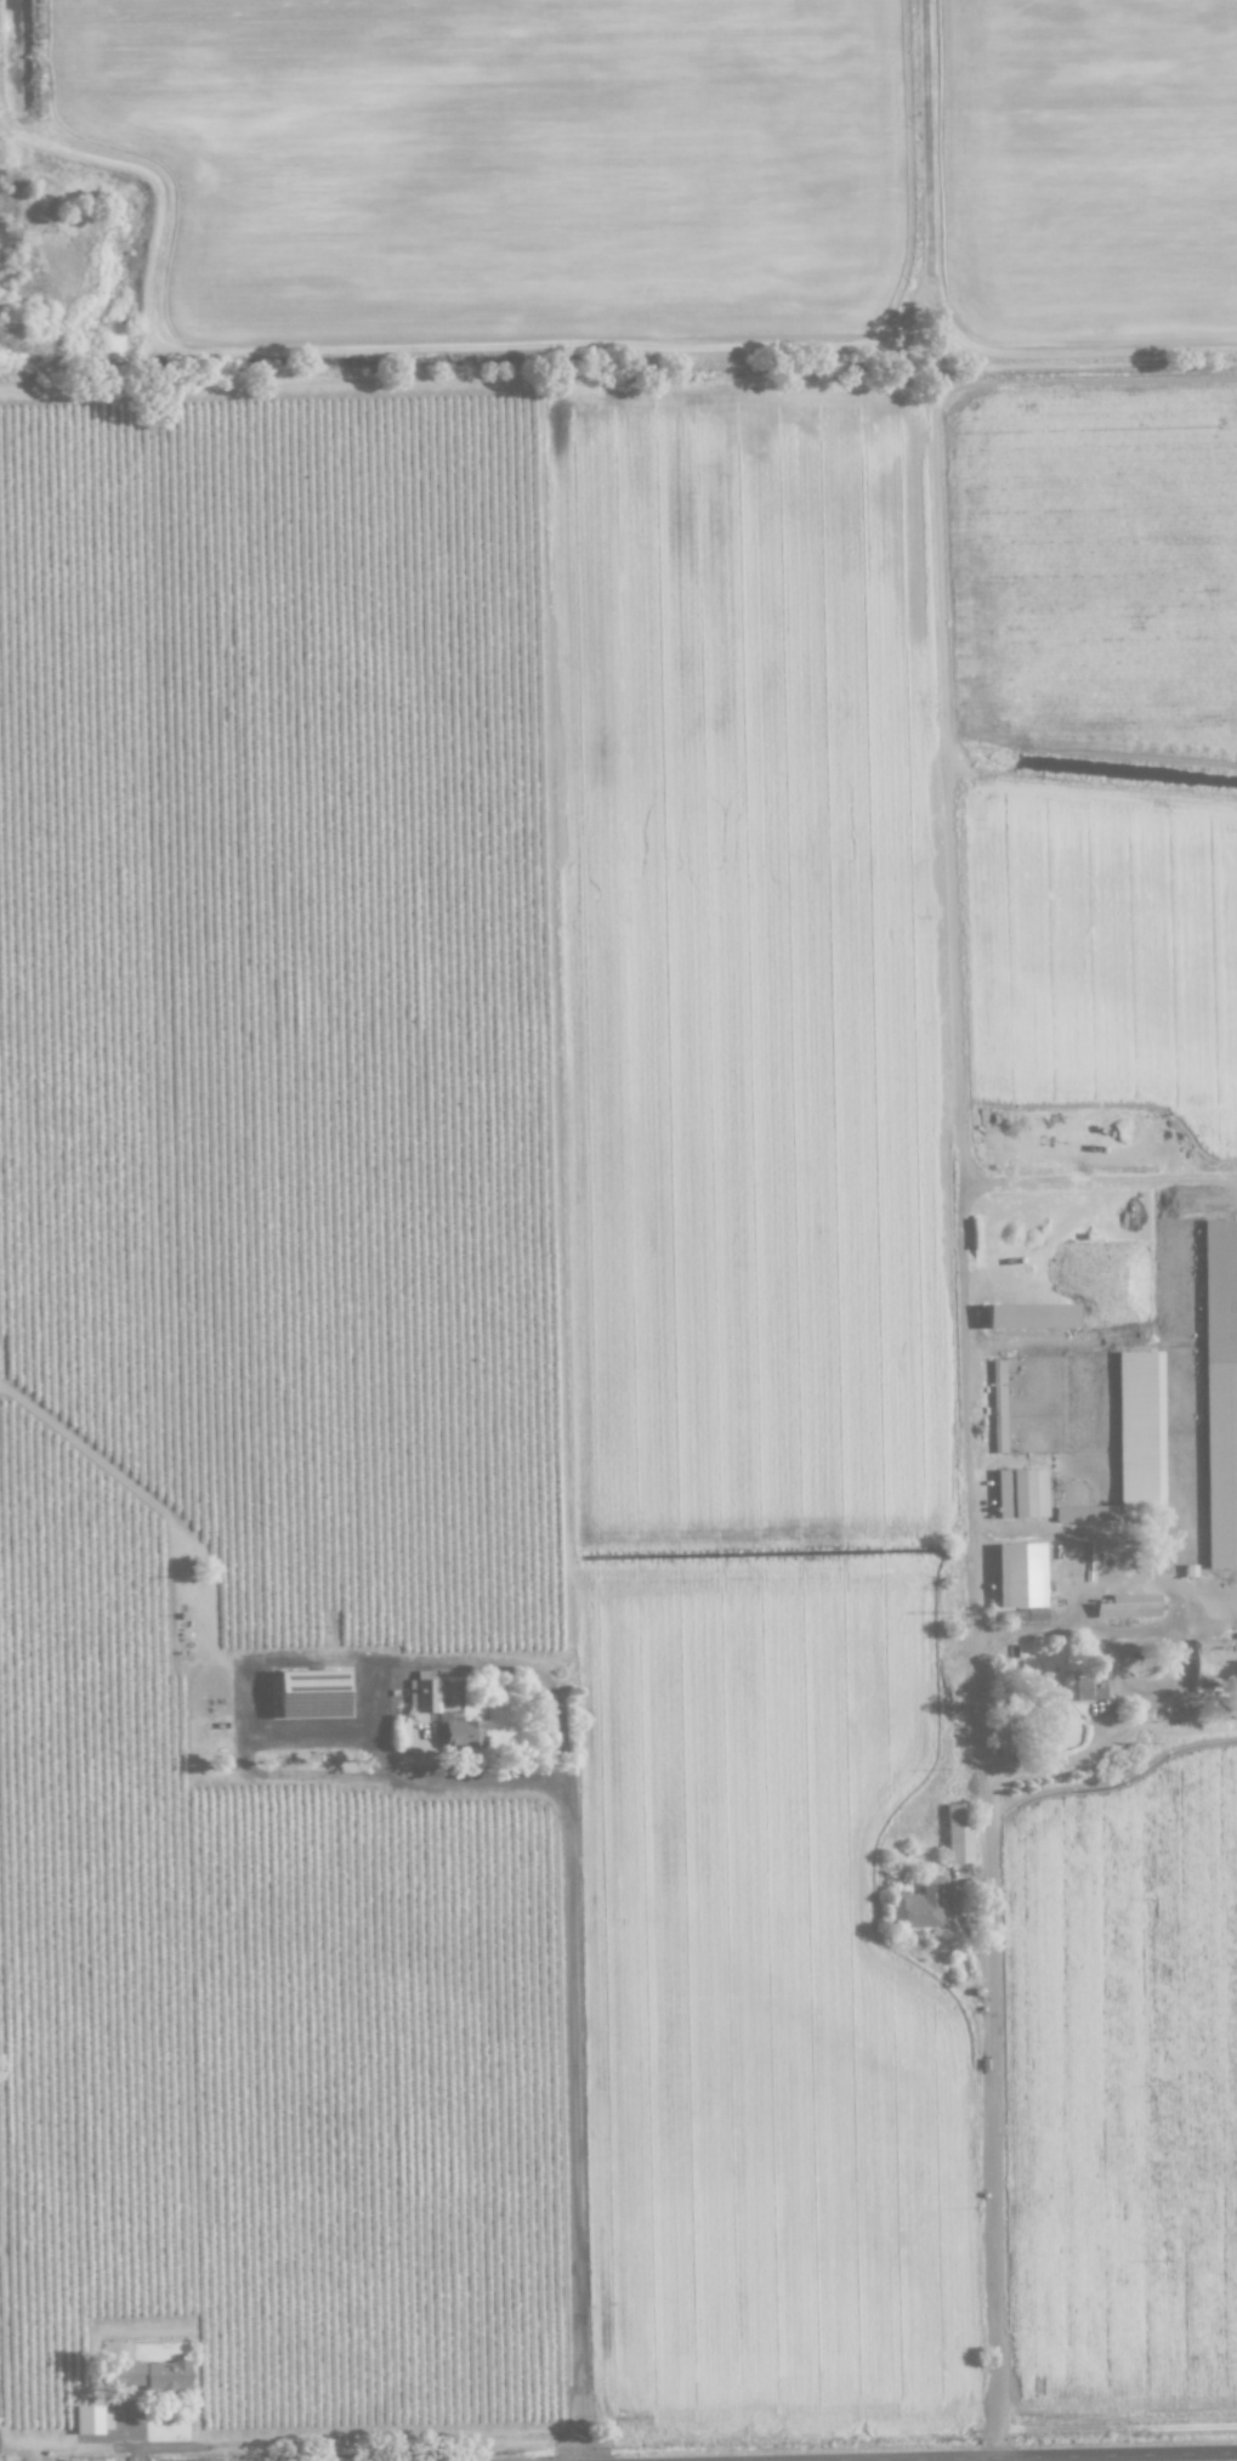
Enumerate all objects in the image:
road: (952, 766)
road: (1100, 1178)
building: (1027, 1316)
building: (1219, 1391)
building: (995, 1407)
building: (1137, 1431)
building: (1018, 1493)
building: (1084, 1514)
road: (1117, 1541)
building: (1017, 1575)
building: (1129, 1606)
road: (252, 1682)
road: (395, 1686)
building: (1084, 1688)
building: (310, 1693)
building: (420, 1693)
road: (1182, 1730)
building: (463, 1733)
building: (957, 1833)
building: (917, 1906)
road: (991, 2115)
road: (581, 2116)
building: (152, 2376)
building: (86, 2420)
road: (1118, 2428)
road: (1077, 2457)
road: (1000, 2460)

